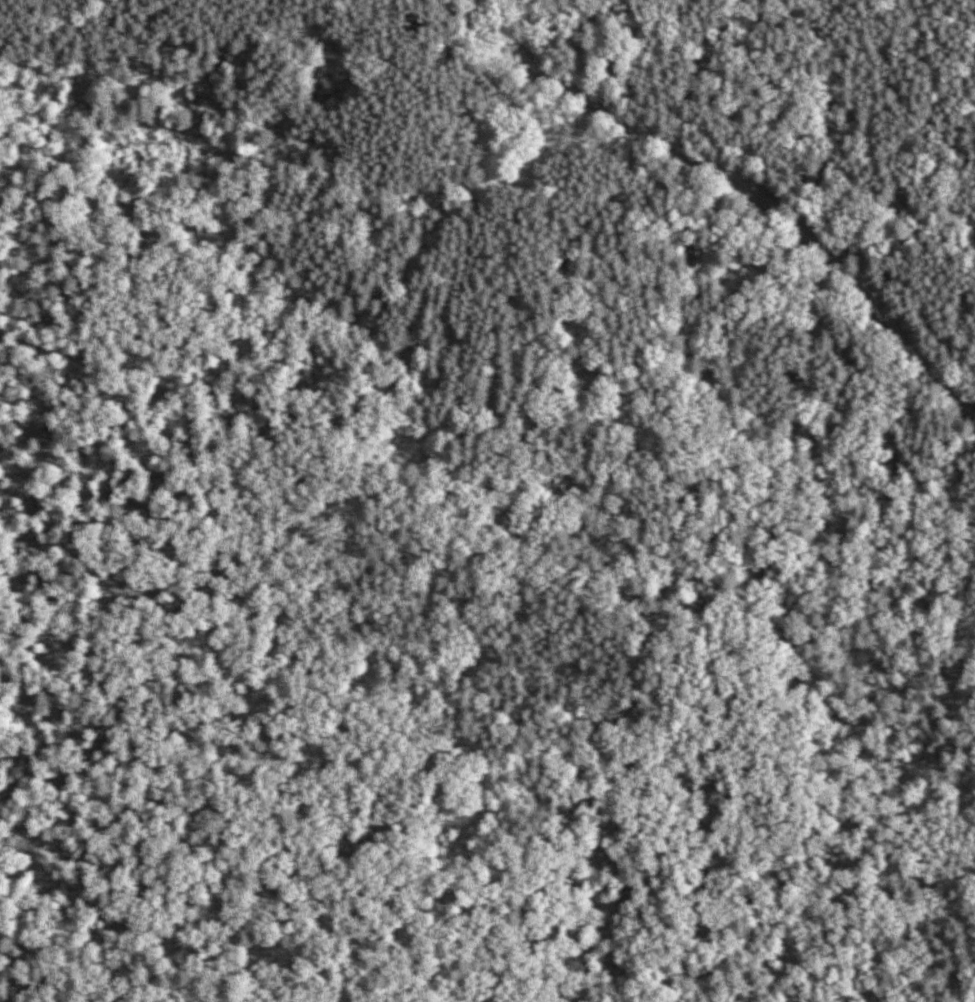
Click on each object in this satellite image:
road: (734, 173)

